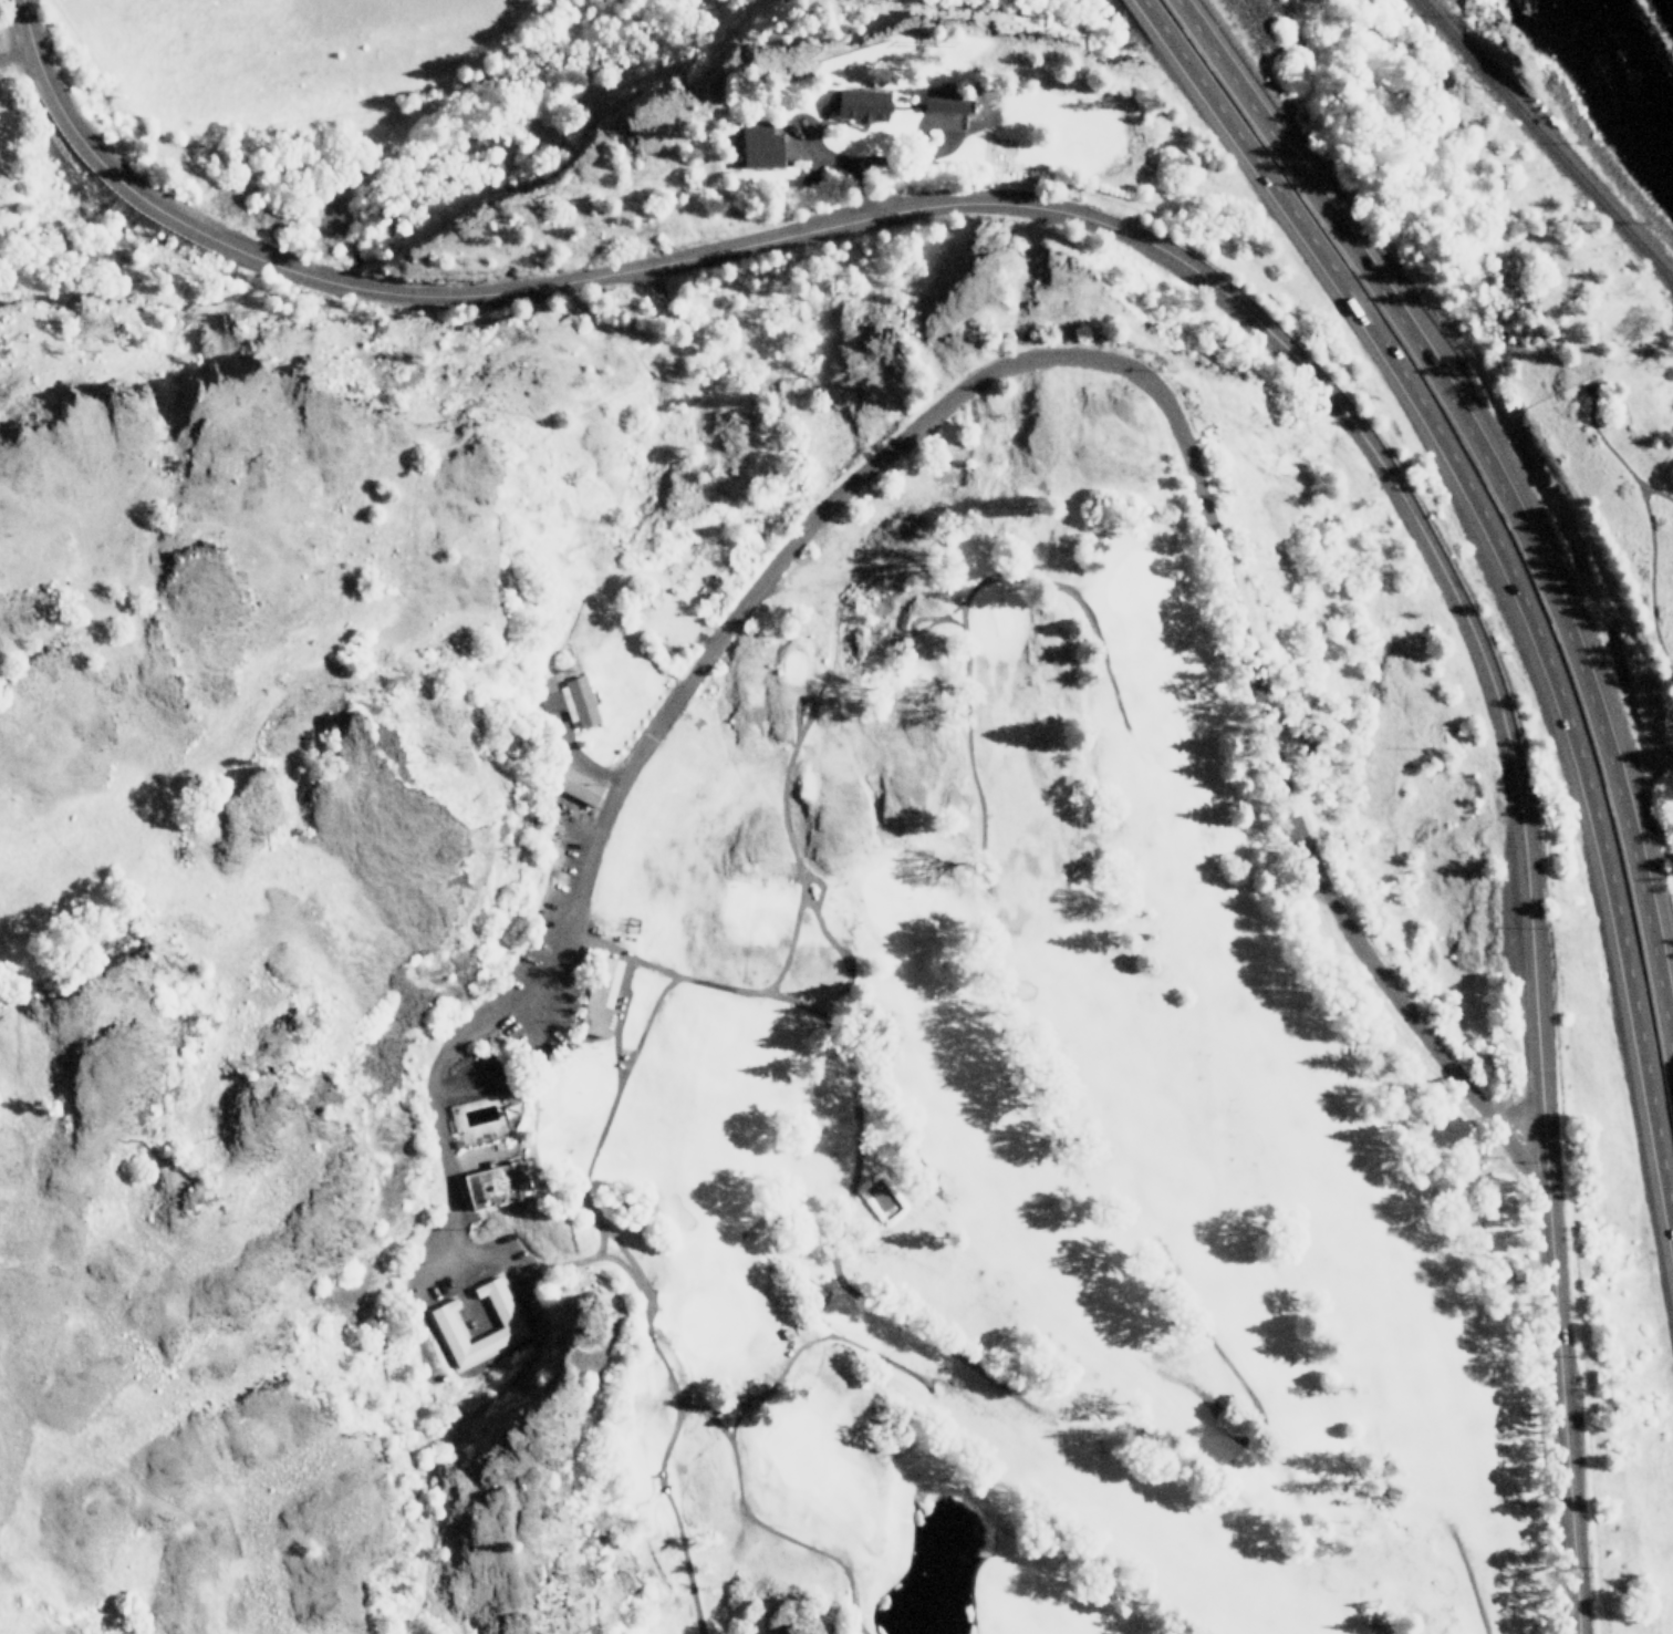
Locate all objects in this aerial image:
road: (19, 1)
building: (944, 101)
building: (861, 104)
railway: (1550, 139)
building: (758, 145)
road: (1248, 311)
road: (1161, 400)
road: (1655, 490)
road: (1505, 499)
road: (1649, 525)
road: (1503, 575)
building: (569, 701)
building: (576, 786)
building: (599, 999)
park: (977, 1075)
road: (1515, 1111)
building: (498, 1183)
building: (506, 1318)

